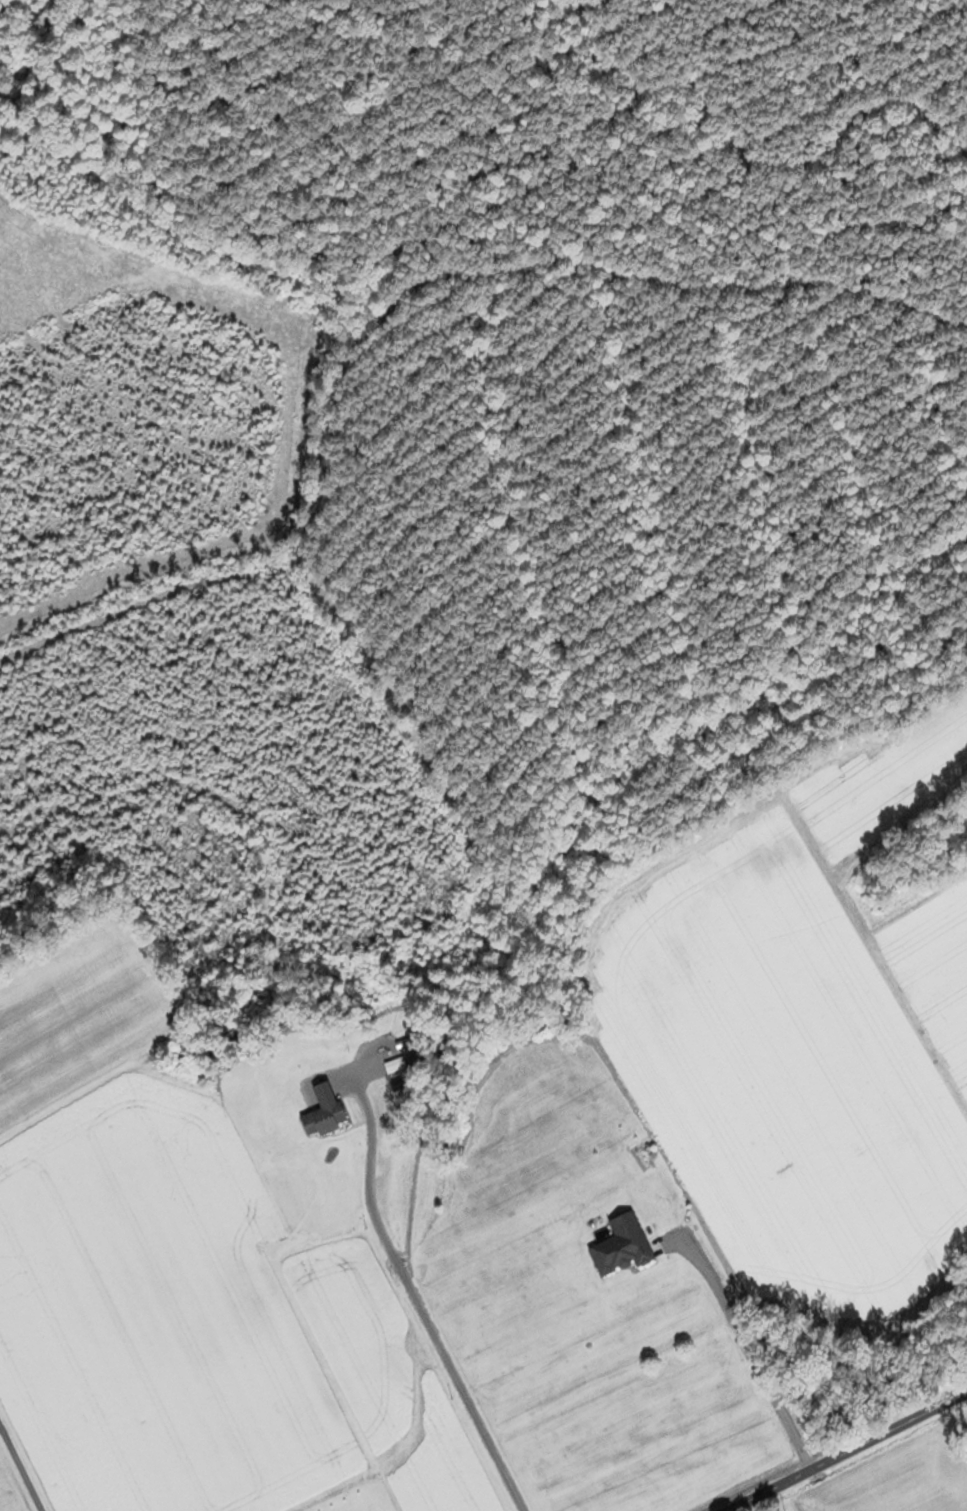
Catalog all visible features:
building: (315, 1094)
building: (324, 1121)
building: (621, 1246)
road: (419, 1305)
road: (749, 1354)
road: (846, 1450)
road: (21, 1468)

